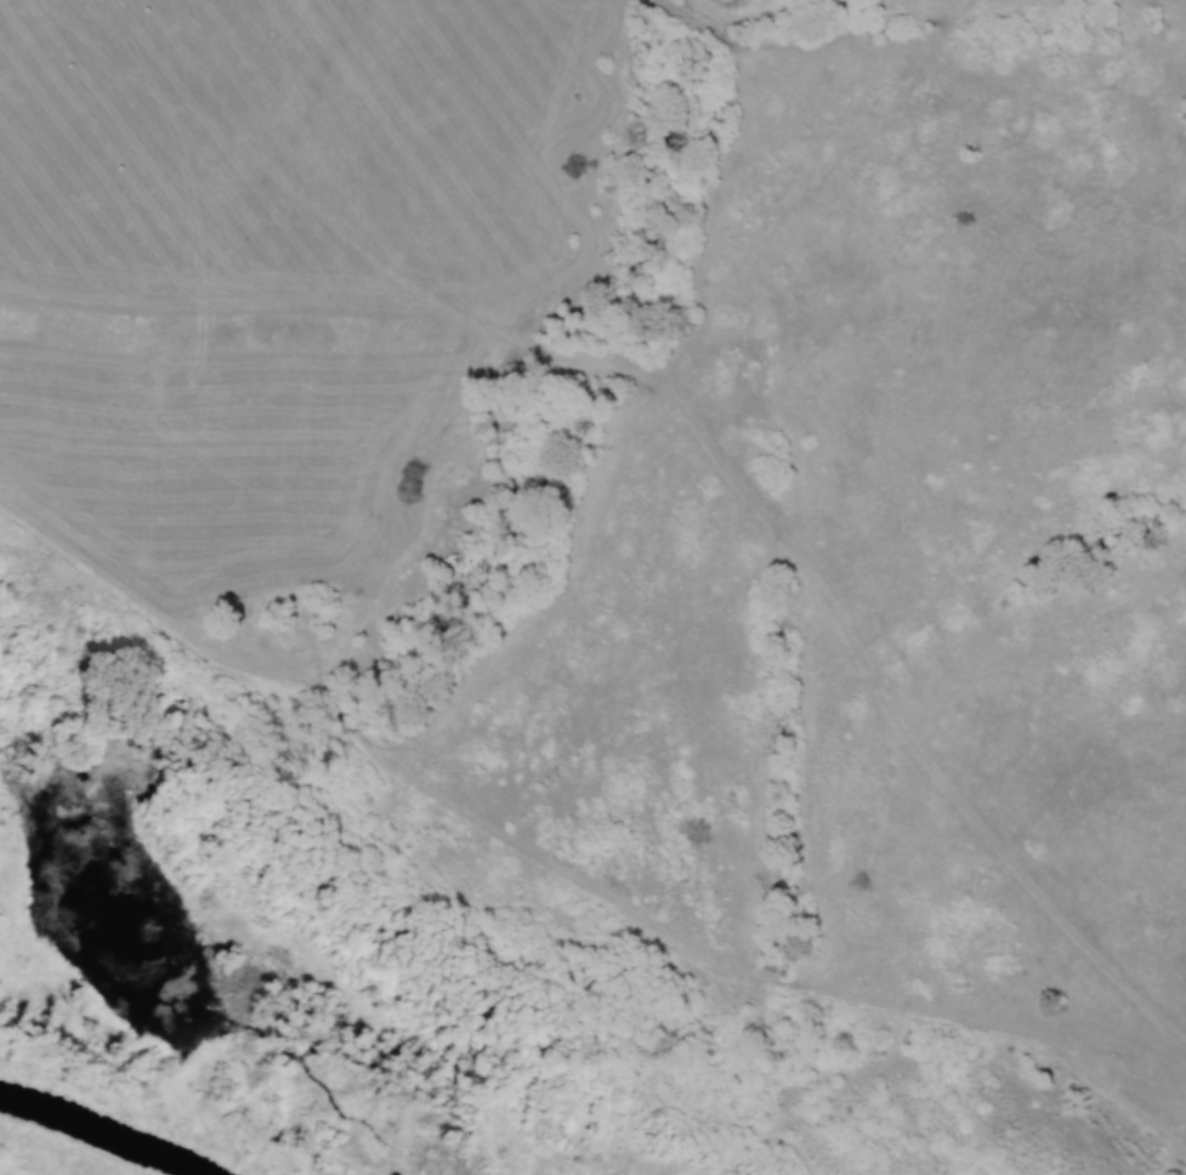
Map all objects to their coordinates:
road: (693, 426)
river: (103, 1131)

